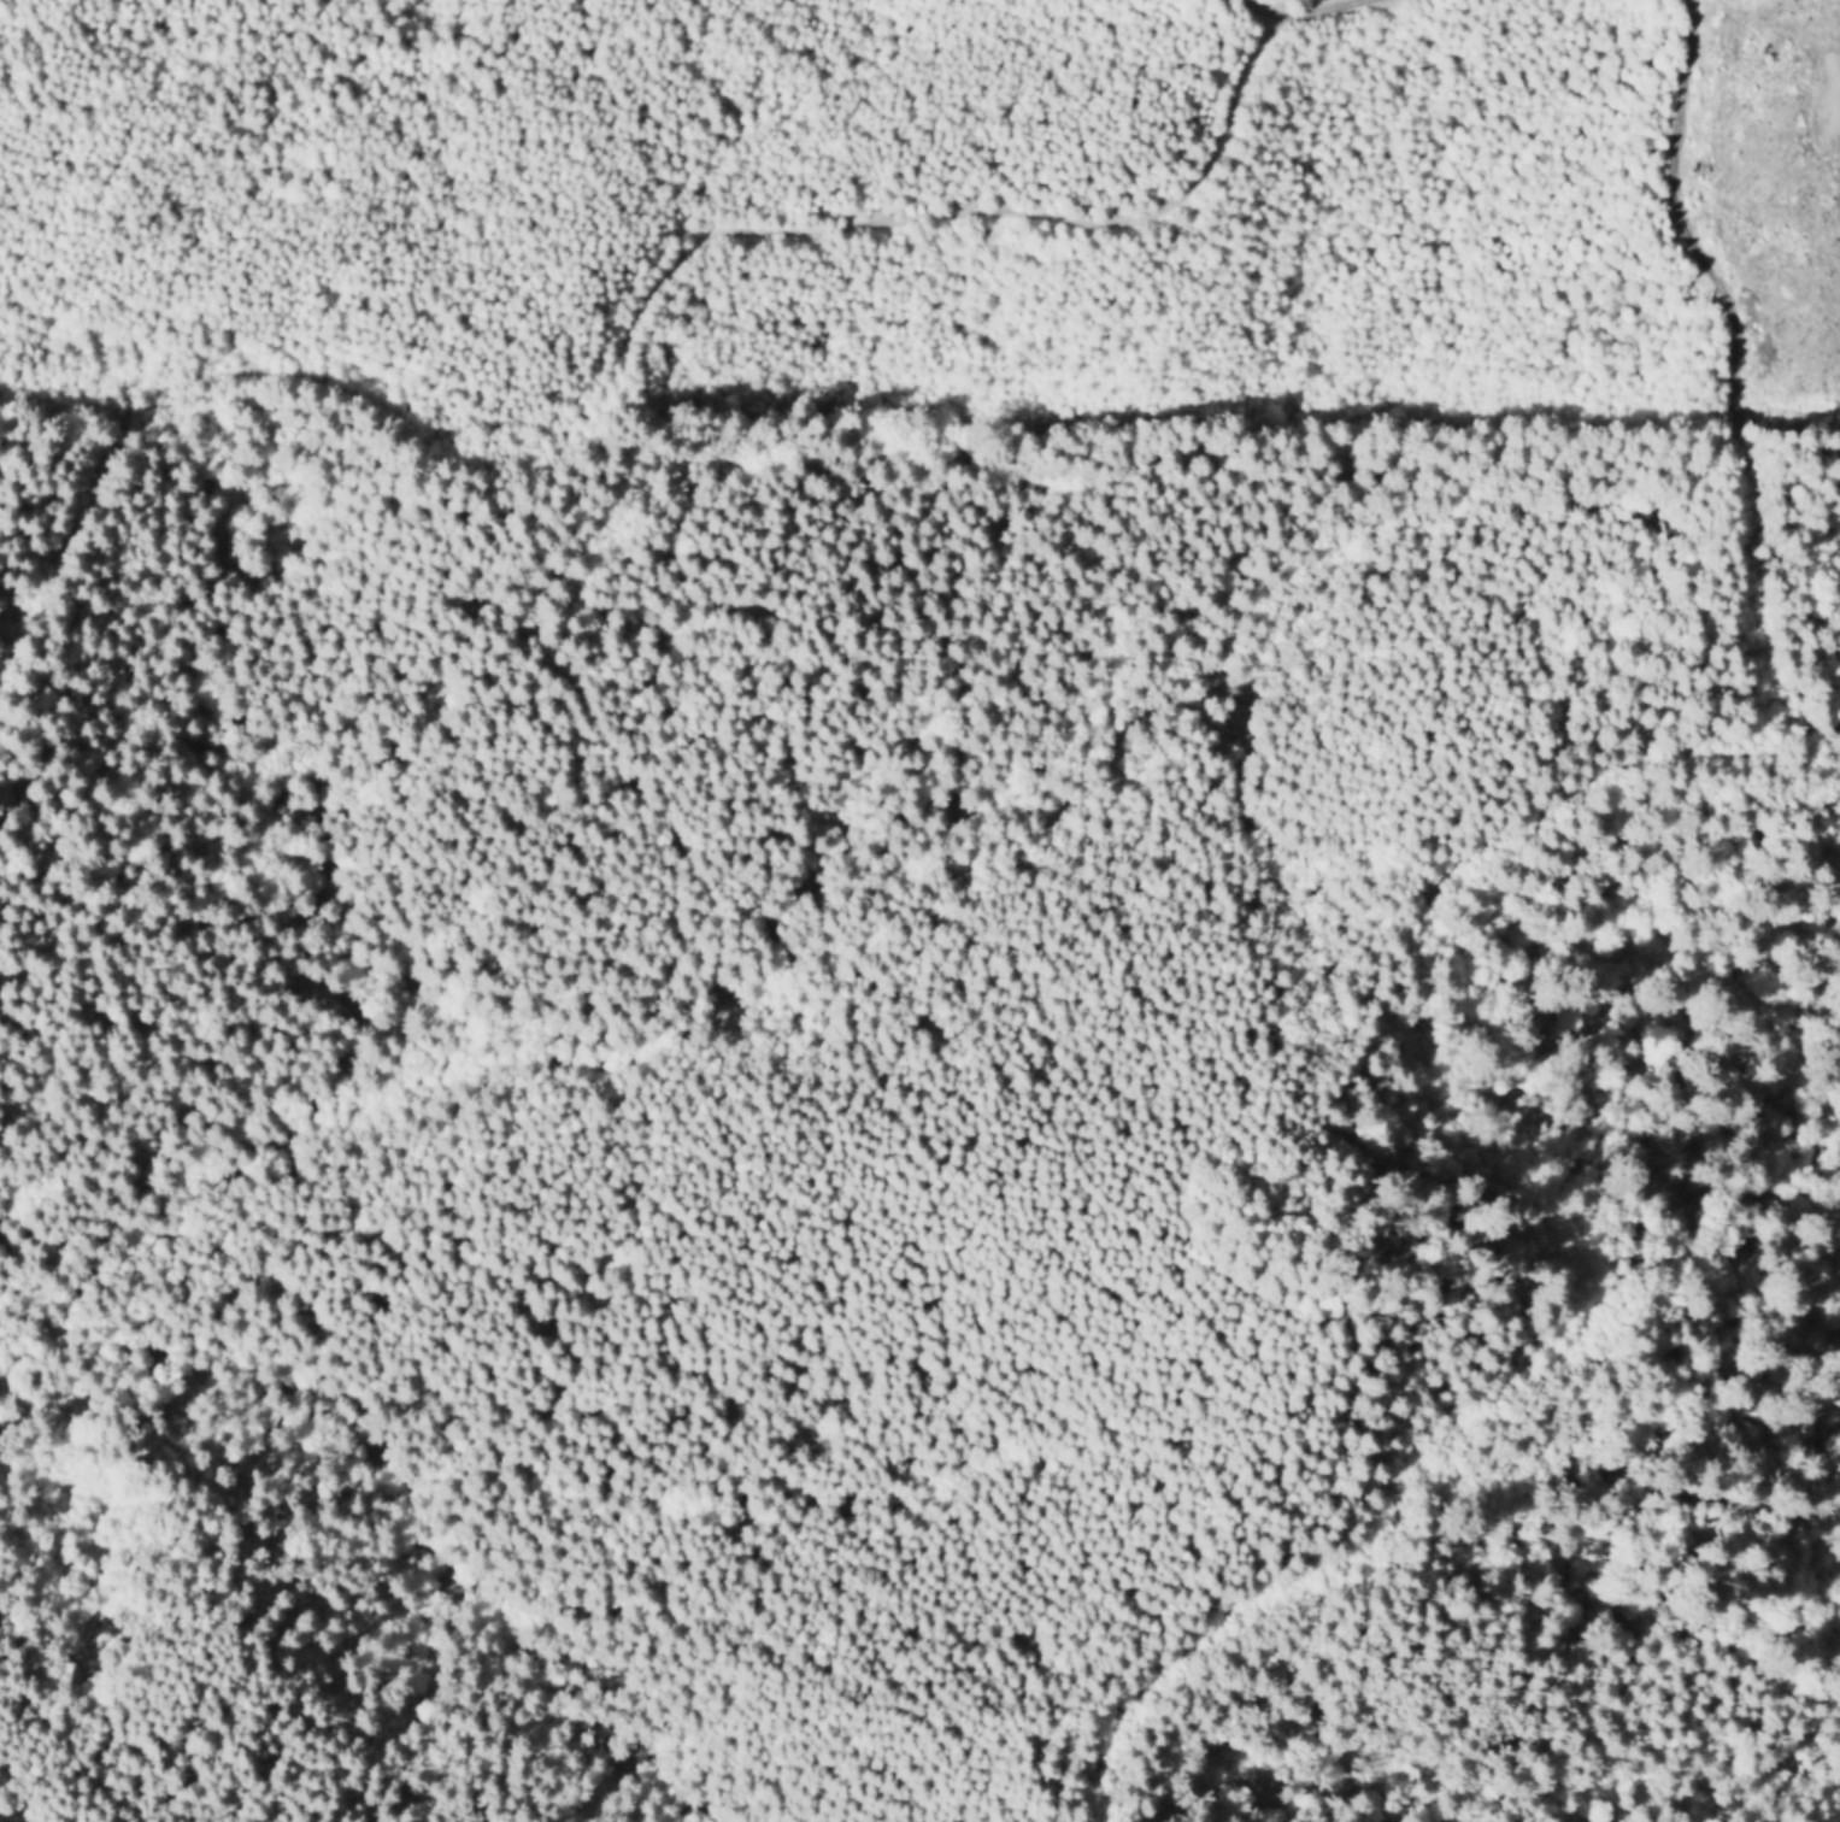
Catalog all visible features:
road: (1313, 13)
road: (623, 345)
road: (1376, 956)

